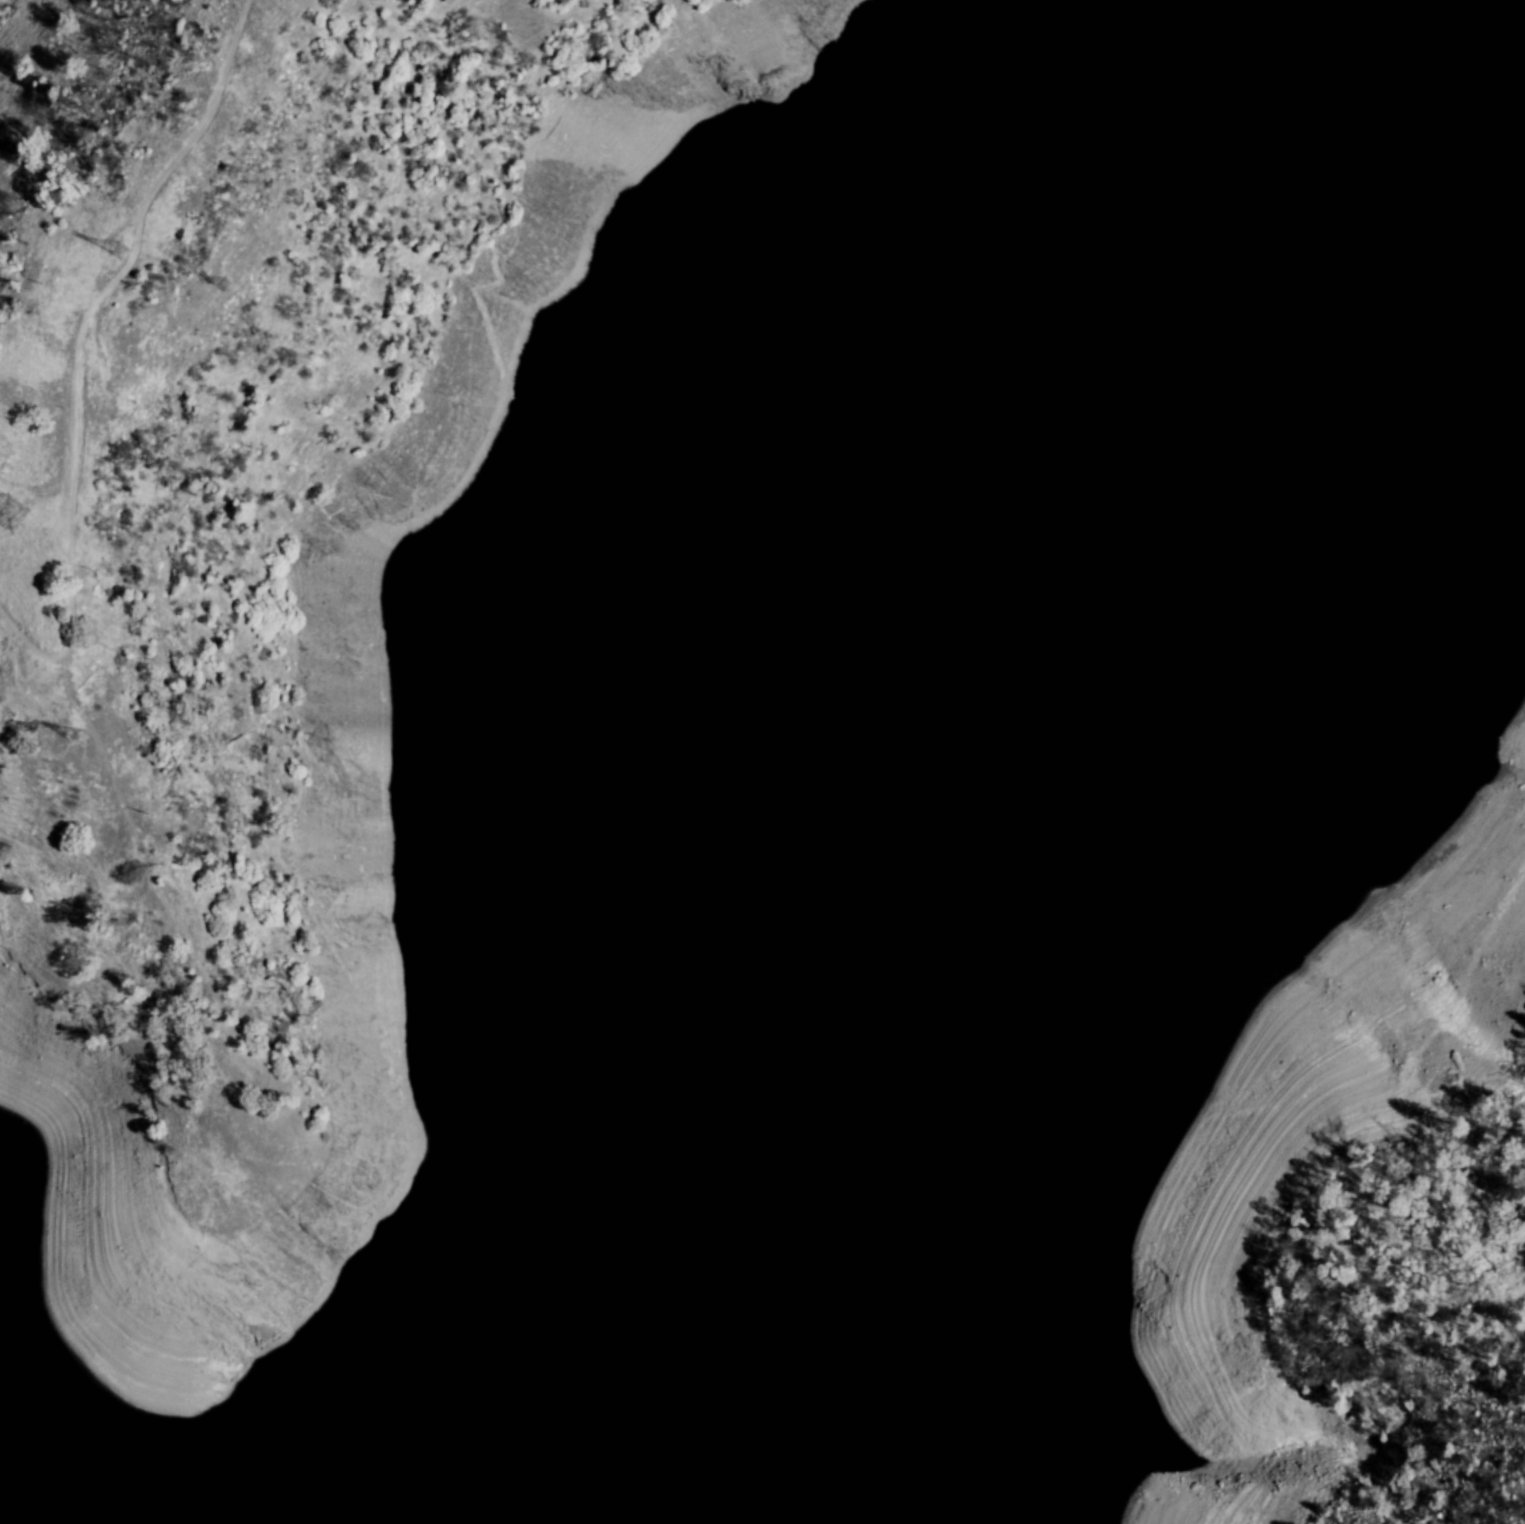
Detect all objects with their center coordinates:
power tower: (105, 256)
power tower: (208, 292)
power tower: (12, 499)
power tower: (71, 743)
river: (1098, 847)
road: (1485, 1259)

